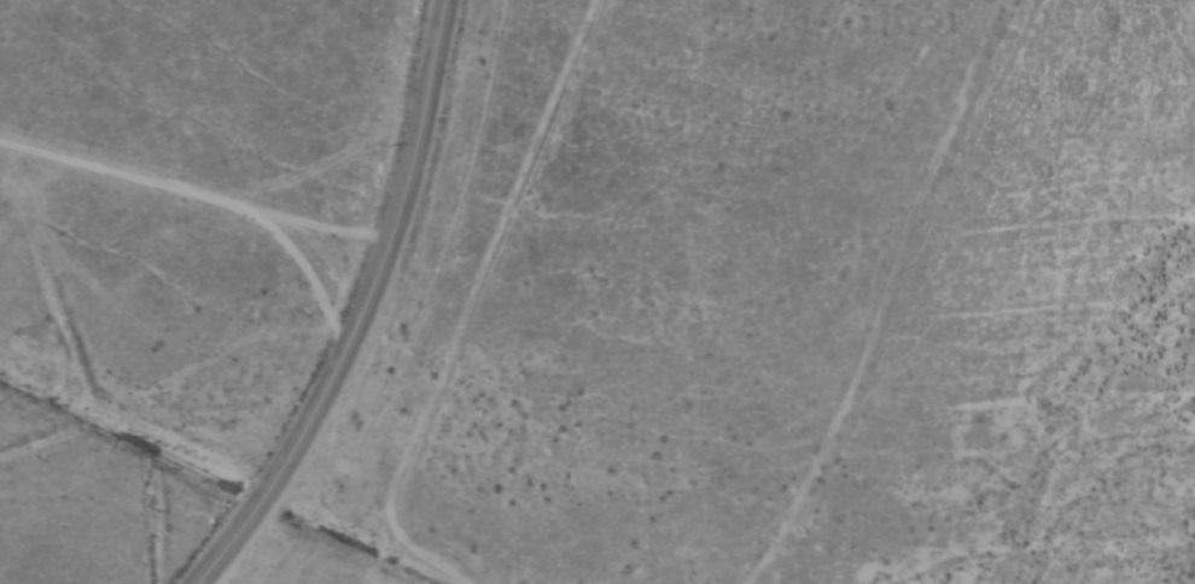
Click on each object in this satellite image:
road: (192, 192)
road: (309, 274)
road: (925, 302)
road: (358, 308)

